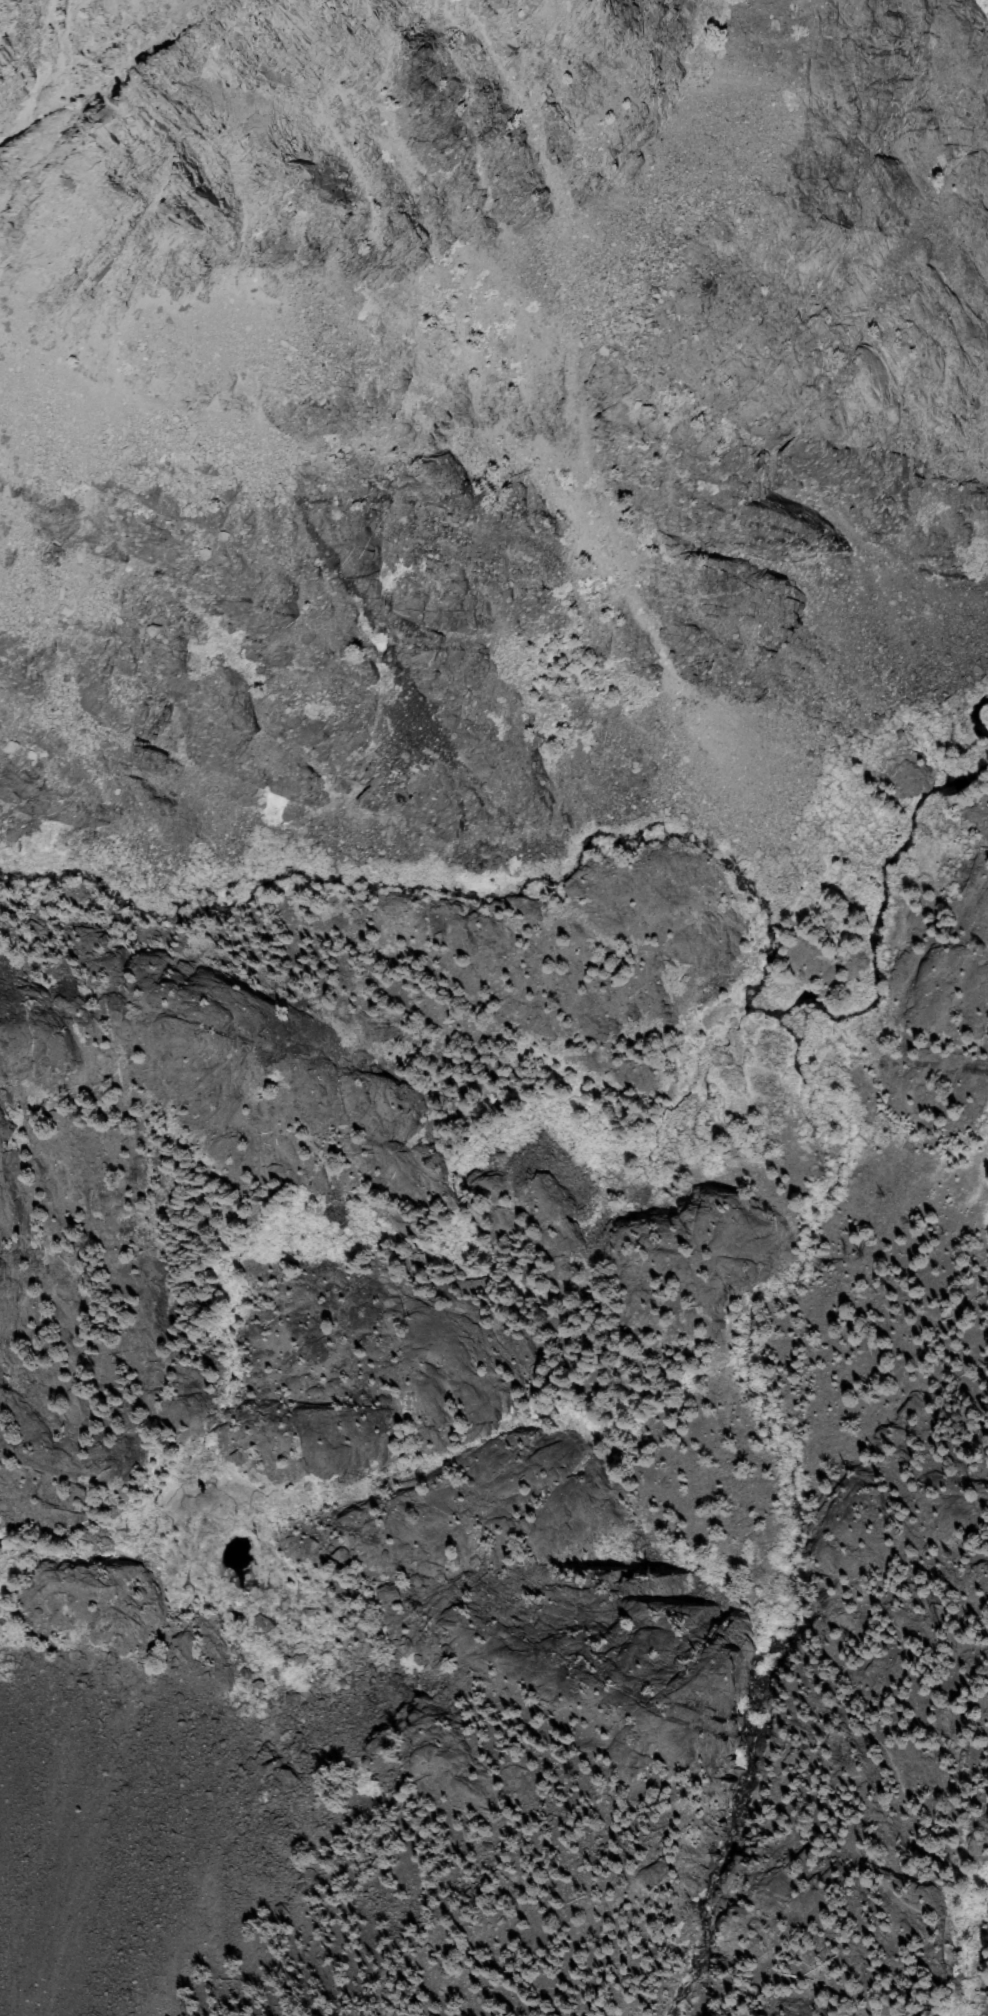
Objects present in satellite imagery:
road: (909, 1842)

